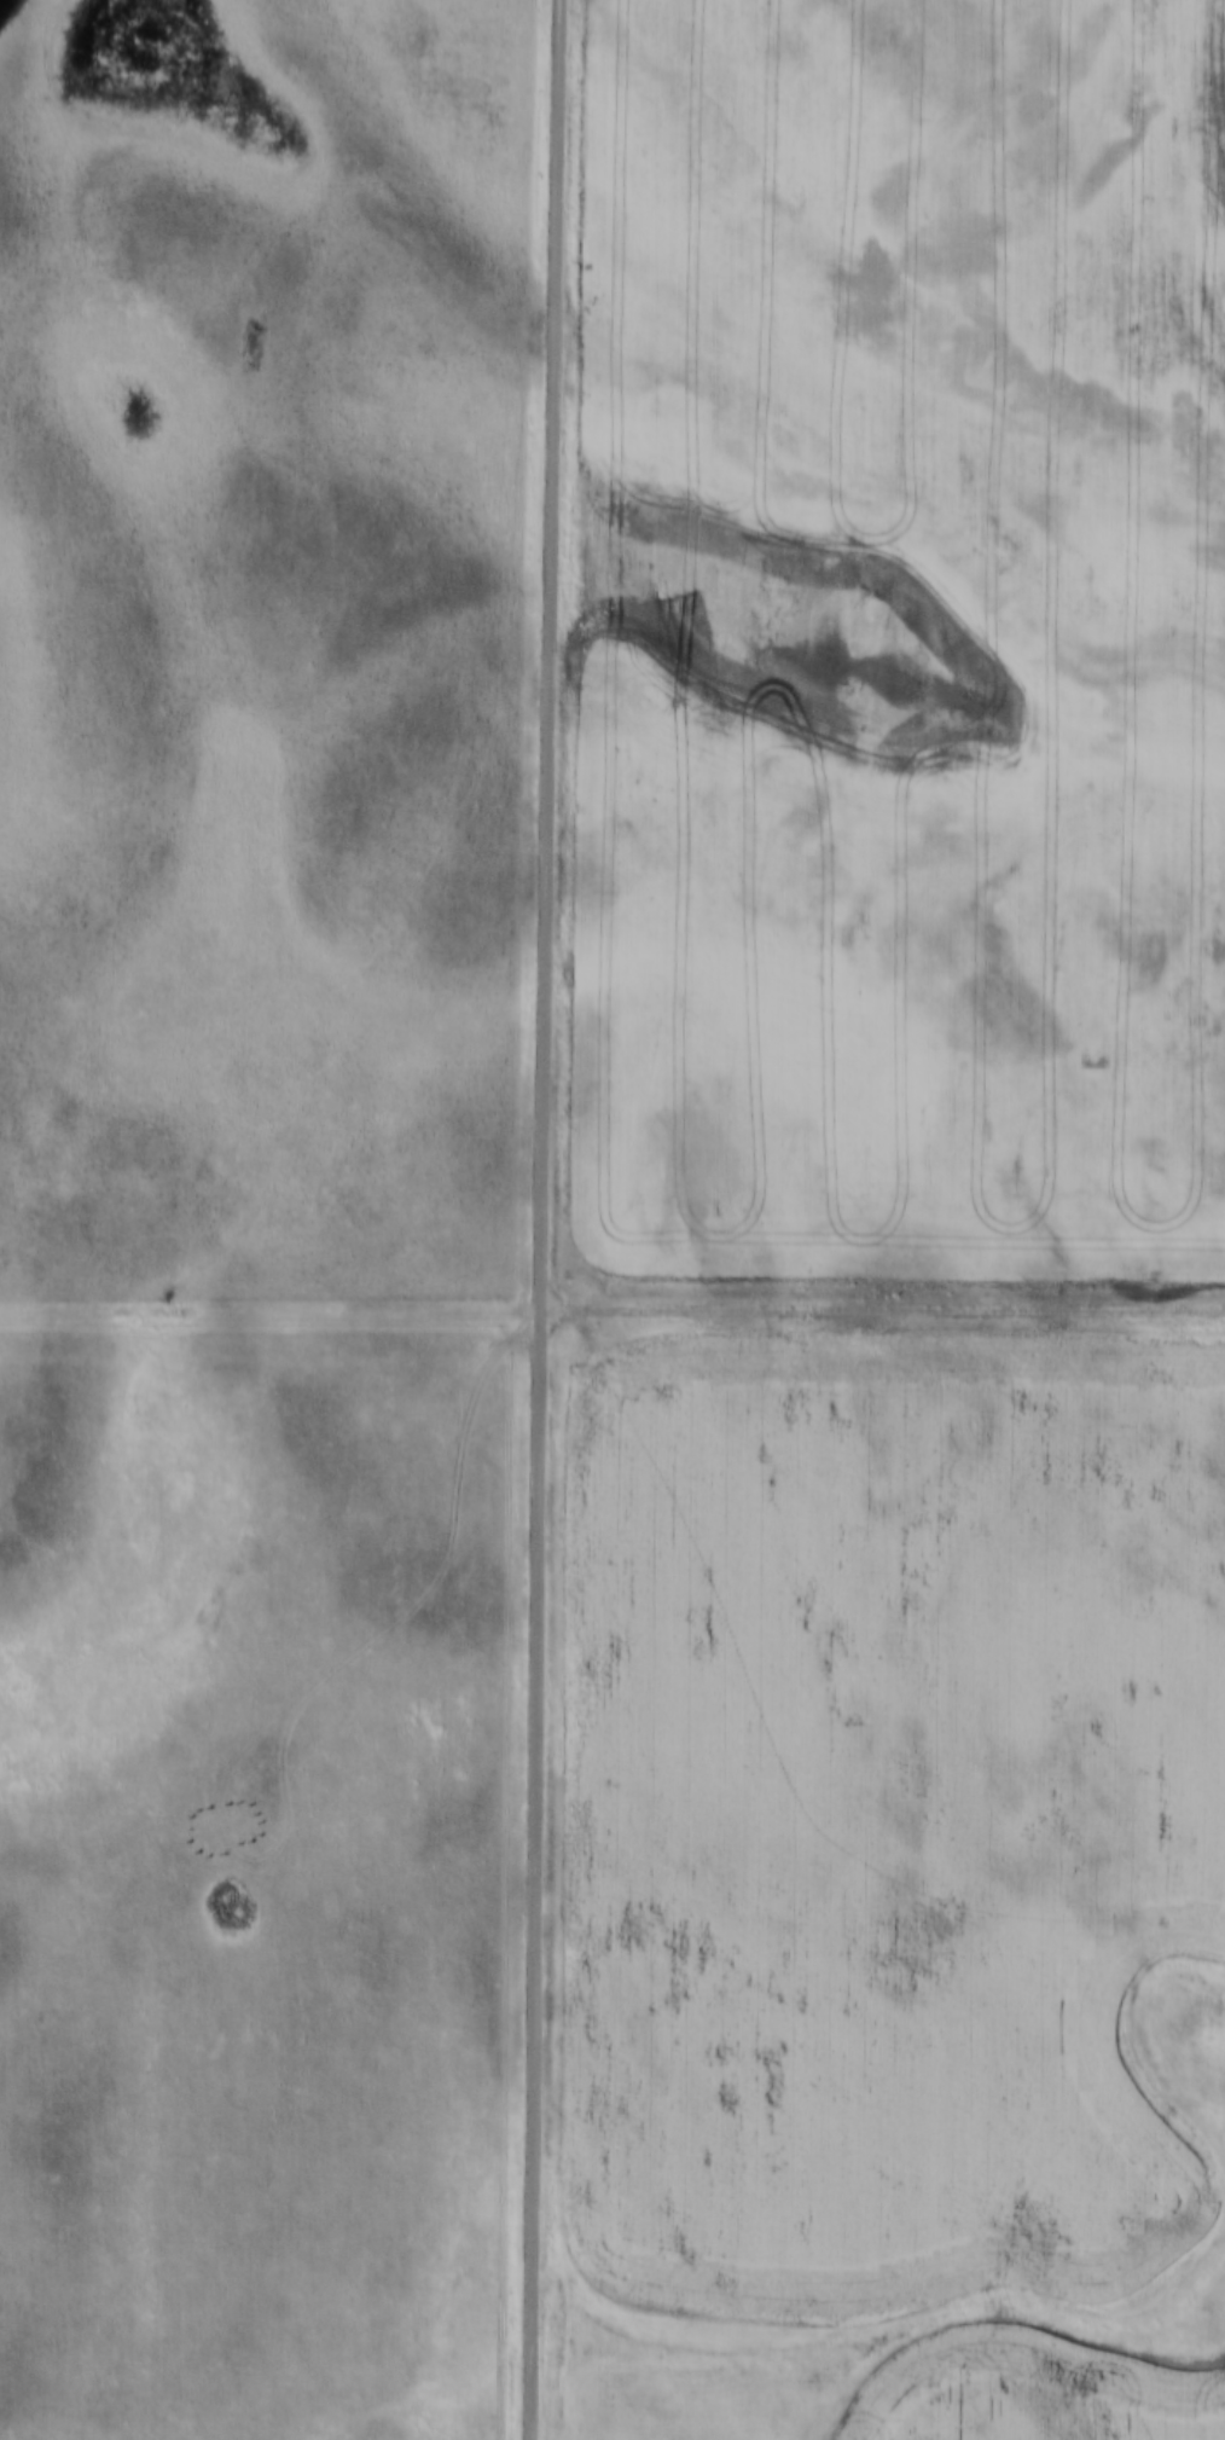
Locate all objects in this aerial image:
road: (541, 1219)
road: (882, 1309)

